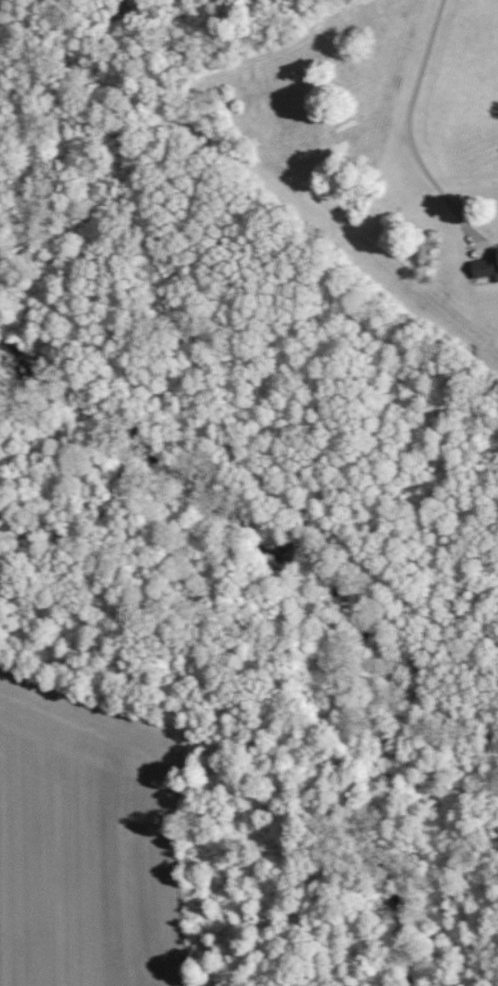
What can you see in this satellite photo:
road: (404, 117)
building: (486, 266)

